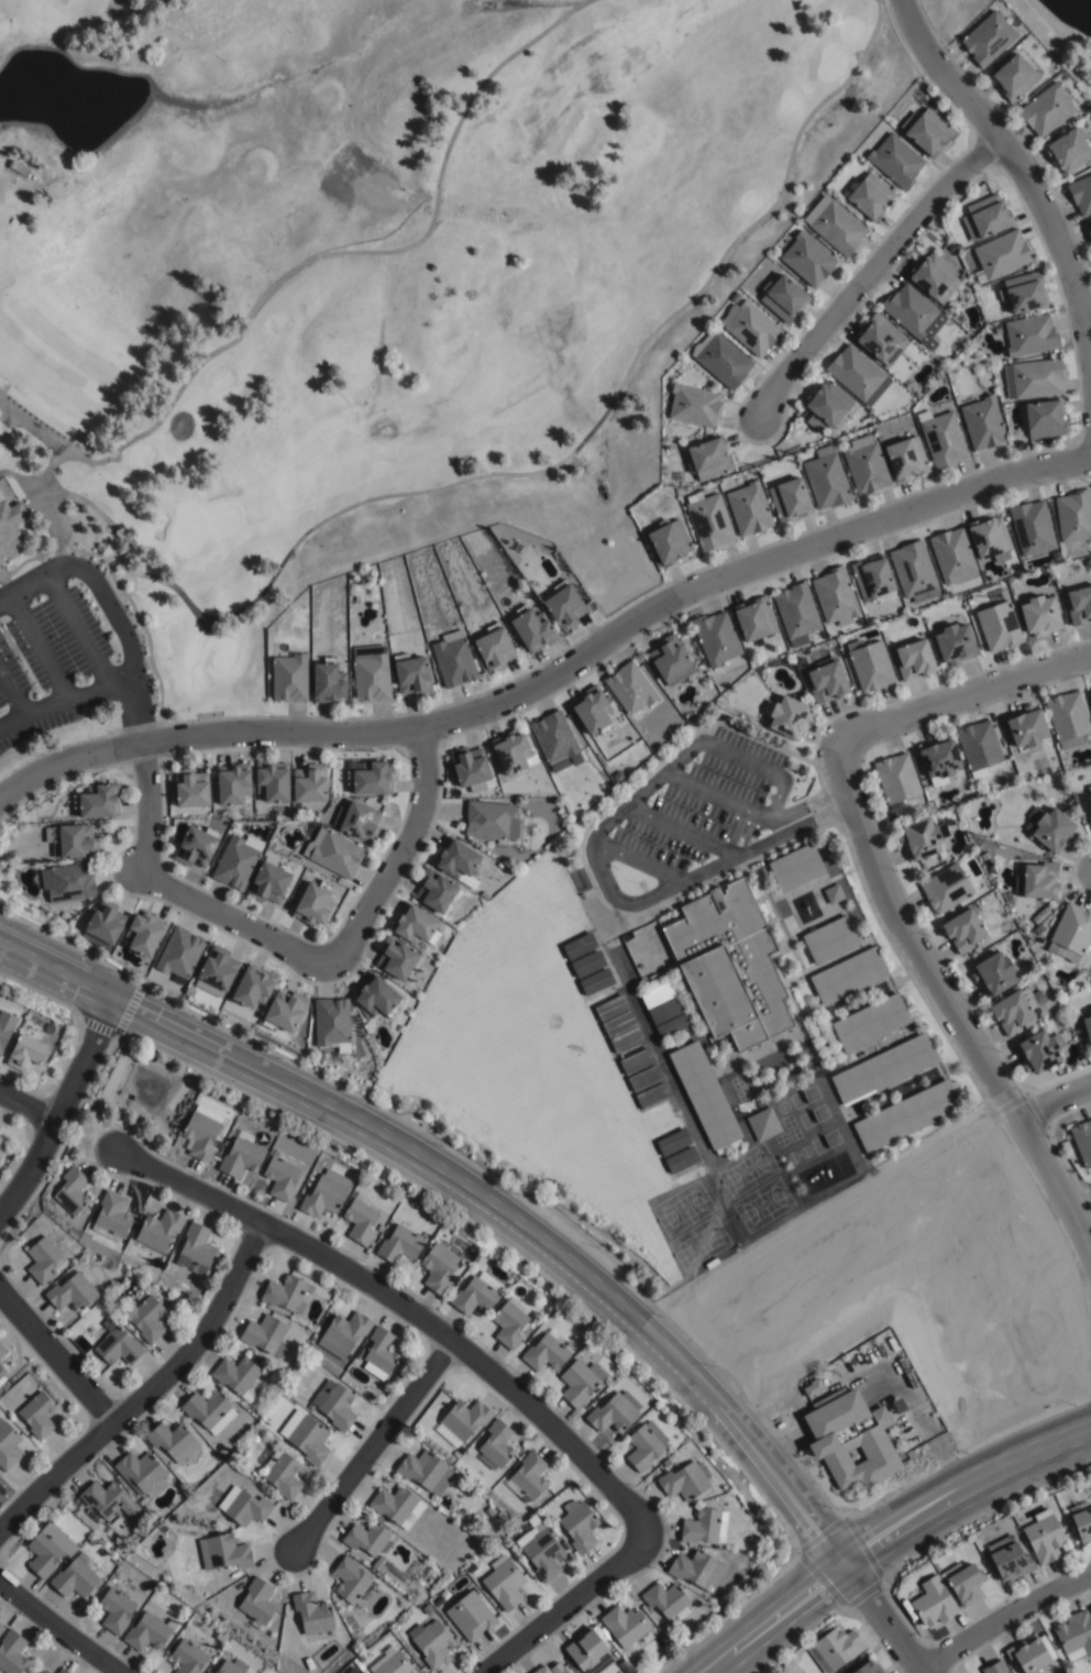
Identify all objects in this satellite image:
park: (952, 13)
park: (1065, 30)
building: (988, 38)
building: (1014, 78)
building: (1046, 111)
building: (929, 133)
building: (1069, 152)
road: (1004, 155)
building: (896, 162)
building: (18, 168)
building: (1081, 196)
building: (870, 199)
building: (987, 219)
building: (835, 227)
building: (1089, 230)
building: (1002, 255)
building: (807, 261)
park: (378, 267)
road: (868, 274)
building: (934, 279)
building: (1024, 294)
building: (783, 300)
building: (914, 316)
building: (752, 330)
building: (1031, 337)
building: (879, 341)
building: (720, 361)
building: (858, 376)
building: (1033, 381)
building: (693, 407)
building: (826, 409)
building: (1044, 420)
building: (983, 425)
building: (943, 440)
building: (708, 461)
building: (905, 461)
building: (864, 466)
building: (825, 481)
building: (790, 503)
building: (748, 511)
building: (1075, 513)
building: (708, 524)
building: (1032, 525)
building: (10, 530)
building: (989, 533)
building: (668, 546)
building: (952, 553)
building: (914, 570)
building: (871, 574)
road: (30, 590)
building: (835, 594)
building: (1080, 602)
road: (5, 603)
building: (564, 603)
building: (796, 610)
building: (1040, 612)
building: (753, 616)
building: (999, 624)
building: (532, 626)
road: (123, 632)
road: (80, 635)
building: (716, 635)
building: (955, 640)
building: (494, 646)
road: (40, 649)
building: (914, 657)
parking lot: (65, 658)
building: (453, 658)
building: (671, 658)
building: (869, 661)
road: (551, 667)
building: (370, 672)
building: (411, 673)
building: (288, 675)
building: (827, 679)
building: (327, 680)
building: (630, 685)
road: (122, 690)
road: (89, 694)
road: (963, 695)
road: (15, 705)
road: (44, 706)
building: (593, 709)
building: (789, 713)
building: (1068, 717)
building: (1028, 729)
building: (553, 734)
building: (979, 747)
building: (511, 749)
road: (739, 758)
building: (938, 758)
building: (467, 767)
building: (896, 775)
building: (372, 777)
building: (273, 780)
building: (233, 781)
building: (311, 782)
building: (191, 785)
road: (844, 795)
road: (716, 796)
building: (1090, 796)
building: (97, 799)
road: (803, 806)
road: (145, 808)
building: (1090, 815)
building: (359, 818)
building: (491, 818)
parking lot: (693, 819)
building: (1050, 826)
road: (684, 829)
road: (793, 829)
building: (921, 836)
building: (74, 838)
building: (196, 844)
building: (337, 852)
building: (984, 856)
building: (238, 859)
building: (458, 860)
road: (639, 861)
building: (795, 866)
building: (1037, 879)
building: (269, 880)
building: (67, 881)
building: (947, 887)
building: (434, 888)
road: (607, 888)
building: (833, 892)
building: (484, 894)
building: (315, 901)
building: (1045, 911)
building: (1037, 917)
building: (412, 922)
building: (104, 923)
building: (962, 928)
building: (1038, 928)
building: (144, 932)
building: (1071, 932)
building: (829, 939)
road: (350, 944)
building: (578, 946)
building: (179, 951)
building: (395, 956)
building: (729, 964)
building: (217, 970)
building: (994, 971)
building: (591, 972)
building: (848, 975)
building: (253, 986)
building: (658, 993)
building: (375, 994)
road: (952, 1002)
building: (610, 1006)
building: (1015, 1008)
building: (284, 1010)
building: (665, 1010)
building: (332, 1021)
building: (870, 1021)
building: (619, 1023)
building: (673, 1025)
building: (5, 1026)
building: (1087, 1026)
building: (627, 1039)
building: (1039, 1049)
building: (27, 1053)
building: (636, 1059)
building: (884, 1068)
building: (644, 1078)
building: (652, 1094)
building: (706, 1097)
road: (1057, 1100)
road: (27, 1105)
road: (59, 1111)
building: (906, 1115)
building: (763, 1123)
building: (0, 1127)
building: (201, 1132)
building: (1082, 1140)
building: (2, 1146)
building: (241, 1155)
building: (280, 1177)
building: (70, 1191)
building: (323, 1195)
road: (469, 1195)
building: (111, 1213)
building: (359, 1219)
building: (158, 1230)
building: (399, 1246)
building: (196, 1248)
building: (42, 1259)
building: (439, 1266)
building: (70, 1292)
building: (287, 1294)
building: (476, 1294)
road: (406, 1306)
building: (145, 1319)
building: (510, 1321)
building: (344, 1334)
building: (266, 1335)
building: (115, 1346)
building: (2, 1351)
building: (382, 1351)
building: (547, 1352)
road: (55, 1357)
building: (2, 1371)
building: (373, 1371)
building: (236, 1376)
building: (580, 1382)
building: (813, 1386)
road: (148, 1391)
building: (334, 1405)
building: (208, 1411)
building: (615, 1412)
building: (38, 1415)
building: (461, 1422)
building: (306, 1437)
building: (850, 1438)
building: (169, 1440)
road: (372, 1441)
building: (496, 1444)
building: (8, 1445)
building: (644, 1445)
building: (426, 1472)
building: (142, 1473)
building: (282, 1474)
building: (529, 1476)
building: (686, 1481)
building: (102, 1498)
building: (243, 1507)
building: (397, 1507)
building: (535, 1520)
building: (1081, 1522)
building: (578, 1526)
building: (705, 1527)
road: (890, 1538)
building: (366, 1539)
building: (1044, 1539)
building: (44, 1552)
building: (223, 1553)
building: (543, 1553)
building: (1011, 1563)
building: (698, 1571)
building: (75, 1577)
building: (351, 1583)
building: (963, 1583)
building: (505, 1585)
building: (666, 1602)
building: (257, 1603)
building: (934, 1603)
building: (1090, 1605)
road: (564, 1607)
building: (114, 1610)
building: (312, 1615)
building: (470, 1618)
road: (1005, 1618)
road: (884, 1620)
road: (62, 1624)
building: (0, 1626)
building: (625, 1627)
building: (1, 1629)
building: (148, 1632)
building: (1075, 1636)
building: (431, 1644)
building: (835, 1646)
building: (587, 1652)
building: (11, 1653)
building: (1027, 1655)
building: (188, 1658)
building: (636, 1661)
building: (393, 1664)
building: (864, 1666)
building: (232, 1668)
building: (994, 1668)
building: (551, 1670)
building: (640, 1670)
building: (60, 1671)
building: (42, 1672)
building: (206, 1672)

